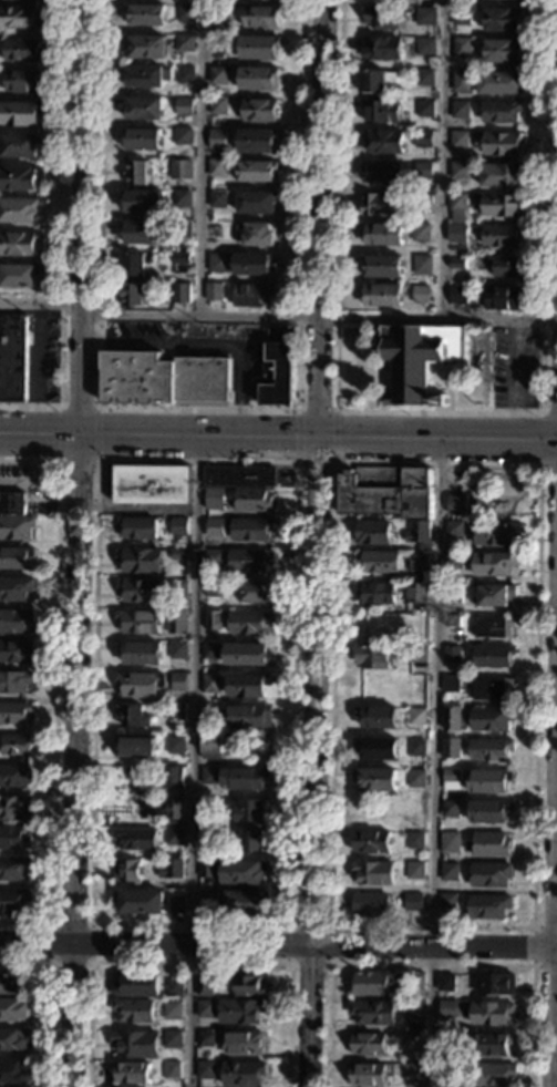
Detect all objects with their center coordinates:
building: (220, 12)
building: (185, 13)
building: (146, 14)
building: (261, 16)
building: (424, 16)
building: (381, 17)
building: (461, 17)
building: (18, 18)
building: (503, 20)
building: (185, 42)
building: (219, 43)
building: (425, 45)
building: (145, 47)
building: (259, 47)
building: (462, 48)
building: (380, 49)
building: (21, 50)
building: (502, 51)
building: (185, 75)
building: (218, 75)
building: (424, 76)
building: (147, 78)
building: (257, 78)
building: (21, 81)
building: (372, 81)
building: (461, 81)
building: (501, 83)
building: (216, 93)
building: (218, 105)
building: (184, 106)
building: (144, 109)
building: (424, 109)
building: (260, 110)
building: (460, 110)
building: (381, 111)
building: (501, 112)
building: (21, 113)
building: (183, 136)
building: (217, 137)
building: (423, 139)
building: (458, 139)
building: (143, 140)
building: (256, 142)
building: (384, 143)
building: (499, 143)
building: (19, 146)
road: (199, 156)
road: (444, 158)
building: (215, 168)
building: (179, 170)
building: (423, 171)
building: (458, 171)
building: (255, 172)
building: (382, 172)
building: (136, 173)
building: (501, 174)
building: (19, 180)
building: (183, 198)
building: (217, 198)
building: (144, 203)
building: (256, 203)
building: (422, 204)
building: (380, 205)
building: (501, 205)
building: (457, 207)
building: (19, 211)
building: (182, 228)
building: (420, 232)
road: (61, 233)
building: (144, 233)
building: (456, 233)
building: (258, 235)
building: (382, 235)
building: (501, 236)
building: (18, 244)
building: (180, 258)
building: (218, 263)
building: (422, 263)
building: (457, 264)
building: (134, 265)
building: (252, 265)
building: (504, 266)
building: (383, 267)
building: (18, 276)
building: (180, 293)
building: (214, 293)
building: (132, 295)
building: (421, 295)
building: (458, 295)
building: (255, 296)
building: (382, 296)
building: (502, 298)
road: (41, 300)
road: (319, 315)
road: (205, 343)
building: (420, 358)
building: (12, 359)
parking lot: (514, 366)
building: (278, 367)
building: (164, 379)
road: (514, 379)
road: (78, 407)
road: (198, 409)
road: (316, 410)
road: (439, 410)
road: (59, 433)
road: (96, 433)
road: (297, 437)
road: (336, 437)
road: (278, 438)
road: (539, 440)
road: (78, 461)
road: (316, 463)
building: (239, 476)
building: (152, 485)
building: (385, 492)
building: (214, 499)
building: (254, 500)
building: (11, 503)
building: (456, 504)
road: (140, 509)
building: (16, 527)
building: (137, 527)
building: (178, 527)
building: (214, 527)
building: (454, 527)
building: (250, 529)
building: (372, 532)
building: (494, 534)
building: (419, 535)
road: (80, 543)
road: (319, 543)
building: (177, 554)
building: (17, 557)
building: (215, 558)
building: (140, 560)
building: (249, 561)
building: (452, 561)
building: (378, 562)
building: (419, 562)
building: (493, 563)
building: (16, 588)
building: (177, 588)
building: (214, 588)
building: (140, 589)
building: (254, 592)
building: (375, 593)
building: (415, 593)
building: (452, 593)
building: (494, 596)
building: (213, 619)
building: (16, 621)
building: (138, 622)
building: (176, 622)
building: (248, 623)
building: (493, 626)
building: (177, 649)
building: (210, 650)
building: (16, 652)
building: (140, 653)
building: (247, 653)
building: (416, 654)
building: (452, 655)
building: (493, 656)
building: (372, 657)
building: (14, 681)
building: (177, 683)
building: (140, 684)
building: (210, 684)
building: (450, 684)
building: (248, 685)
building: (491, 688)
road: (54, 689)
building: (14, 712)
building: (175, 712)
building: (210, 714)
building: (132, 716)
building: (249, 716)
building: (377, 717)
building: (416, 717)
building: (452, 719)
building: (491, 719)
building: (16, 745)
building: (135, 745)
building: (175, 746)
building: (210, 746)
building: (377, 748)
building: (415, 748)
building: (451, 748)
building: (489, 750)
road: (193, 762)
road: (434, 762)
building: (14, 776)
building: (175, 776)
building: (210, 776)
building: (244, 778)
building: (415, 778)
building: (377, 779)
building: (450, 779)
building: (488, 780)
building: (213, 804)
building: (14, 807)
building: (173, 809)
building: (450, 809)
building: (249, 811)
building: (489, 811)
building: (174, 837)
building: (14, 838)
building: (209, 838)
building: (135, 839)
building: (252, 840)
building: (414, 841)
building: (370, 842)
building: (448, 843)
building: (489, 844)
building: (13, 869)
building: (171, 869)
building: (207, 870)
building: (414, 870)
building: (127, 871)
building: (243, 872)
building: (448, 872)
building: (373, 873)
building: (489, 874)
road: (553, 892)
building: (207, 900)
building: (13, 901)
building: (138, 902)
building: (412, 902)
building: (447, 902)
building: (176, 904)
building: (244, 904)
building: (370, 904)
building: (488, 906)
road: (90, 924)
road: (532, 927)
road: (278, 943)
road: (532, 947)
road: (87, 962)
road: (187, 963)
road: (328, 964)
road: (429, 964)
building: (419, 982)
building: (370, 984)
building: (445, 984)
building: (496, 984)
building: (12, 985)
building: (136, 985)
building: (249, 986)
building: (174, 987)
building: (204, 987)
road: (50, 1001)
building: (13, 1009)
building: (172, 1009)
building: (205, 1009)
building: (447, 1009)
building: (133, 1011)
building: (412, 1011)
building: (241, 1012)
building: (373, 1013)
building: (492, 1014)
road: (555, 1025)
building: (171, 1038)
building: (13, 1039)
building: (205, 1039)
building: (412, 1042)
building: (446, 1042)
building: (243, 1043)
building: (135, 1044)
building: (368, 1044)
building: (492, 1044)
building: (171, 1070)
building: (205, 1070)
building: (13, 1071)
building: (411, 1071)
building: (447, 1071)
building: (131, 1073)
building: (243, 1074)
building: (368, 1074)
building: (493, 1074)

